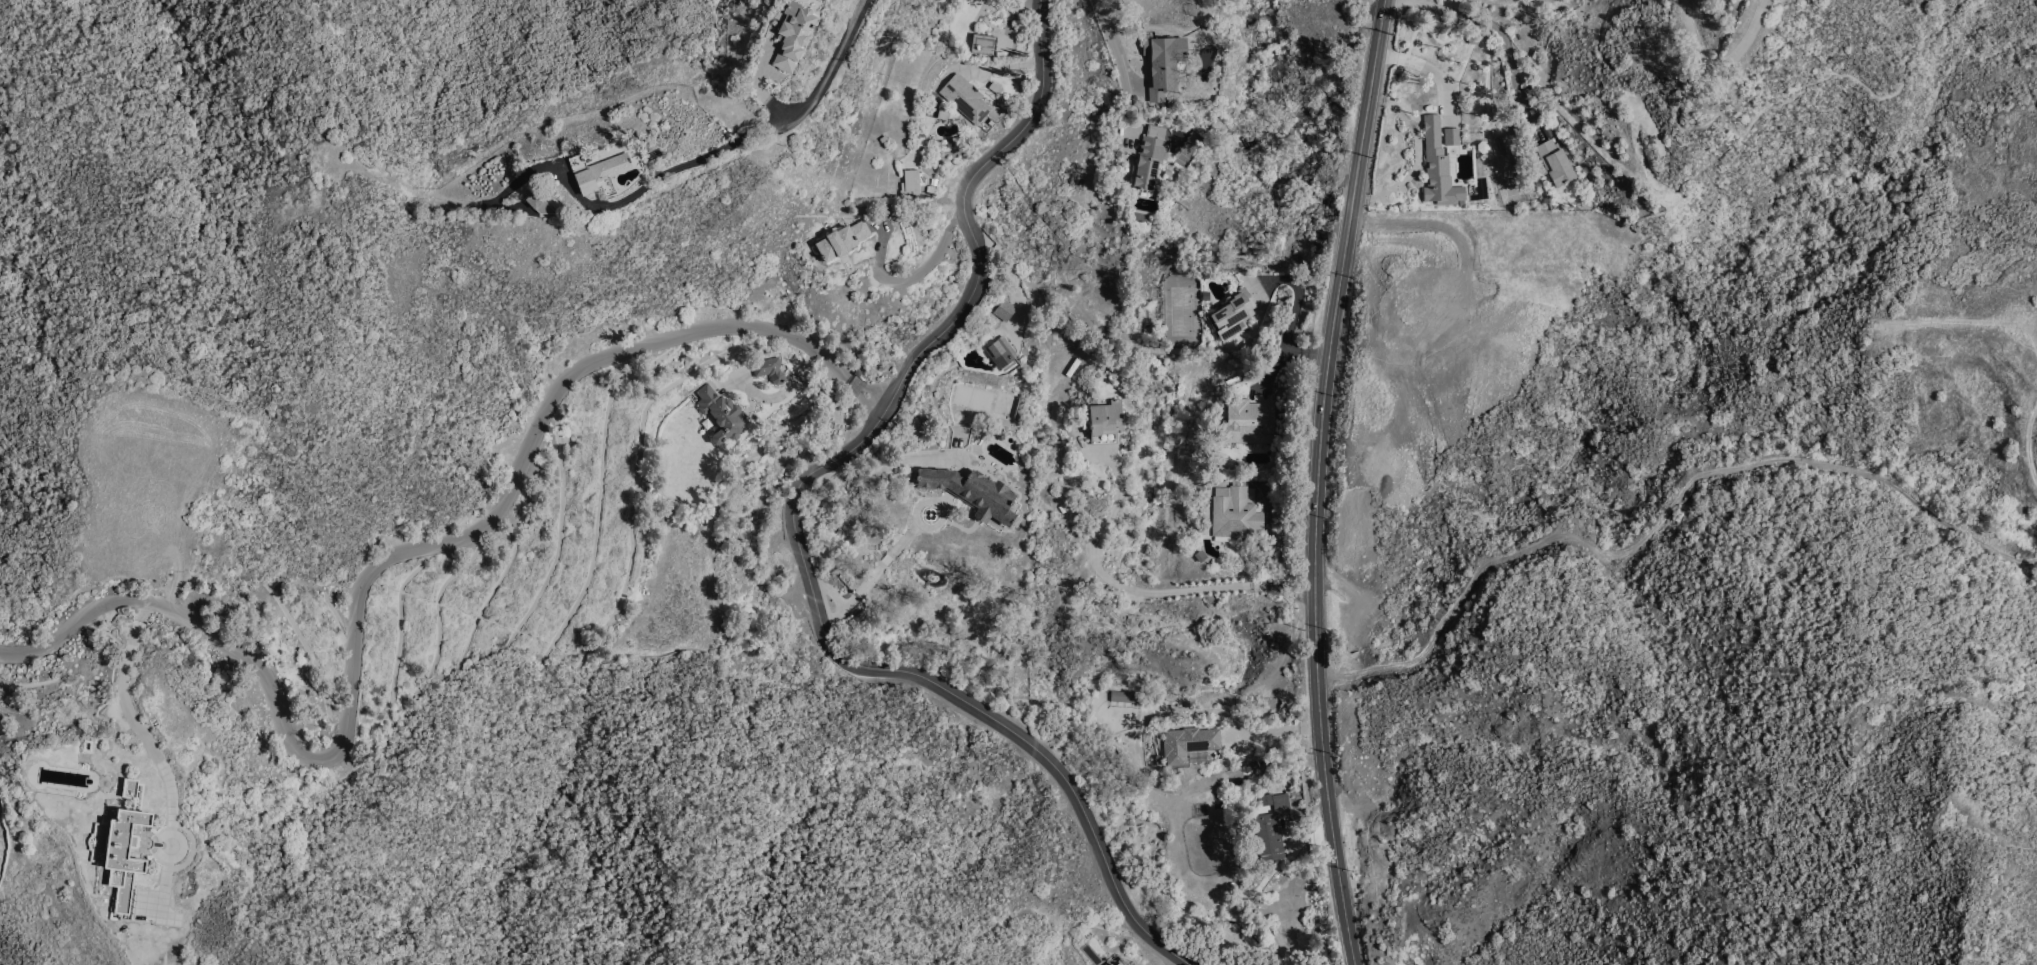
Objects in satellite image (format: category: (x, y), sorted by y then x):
road: (2035, 4)
road: (1430, 6)
road: (1490, 25)
building: (794, 36)
building: (984, 45)
road: (1119, 47)
building: (1163, 65)
road: (1423, 66)
road: (1012, 69)
road: (1719, 74)
road: (1827, 74)
building: (966, 101)
road: (1521, 101)
road: (763, 131)
building: (1452, 137)
building: (1501, 145)
building: (1151, 157)
building: (1556, 163)
building: (1438, 167)
building: (599, 174)
building: (911, 184)
building: (1661, 193)
building: (539, 203)
building: (842, 241)
road: (1006, 262)
road: (933, 265)
building: (1005, 311)
building: (1233, 315)
road: (1292, 315)
road: (1968, 322)
building: (999, 351)
building: (770, 370)
road: (854, 382)
road: (873, 391)
road: (863, 403)
building: (721, 414)
building: (1106, 423)
building: (1249, 423)
road: (2028, 439)
road: (885, 472)
road: (1316, 481)
building: (972, 493)
building: (1235, 514)
road: (1662, 524)
road: (799, 528)
road: (369, 580)
road: (1146, 596)
building: (1124, 697)
road: (1910, 712)
road: (135, 724)
road: (1272, 733)
road: (2016, 738)
building: (1190, 742)
building: (131, 788)
building: (1271, 828)
building: (125, 856)
road: (2003, 873)
road: (1177, 960)
building: (1108, 964)
building: (1112, 964)
building: (1120, 964)

